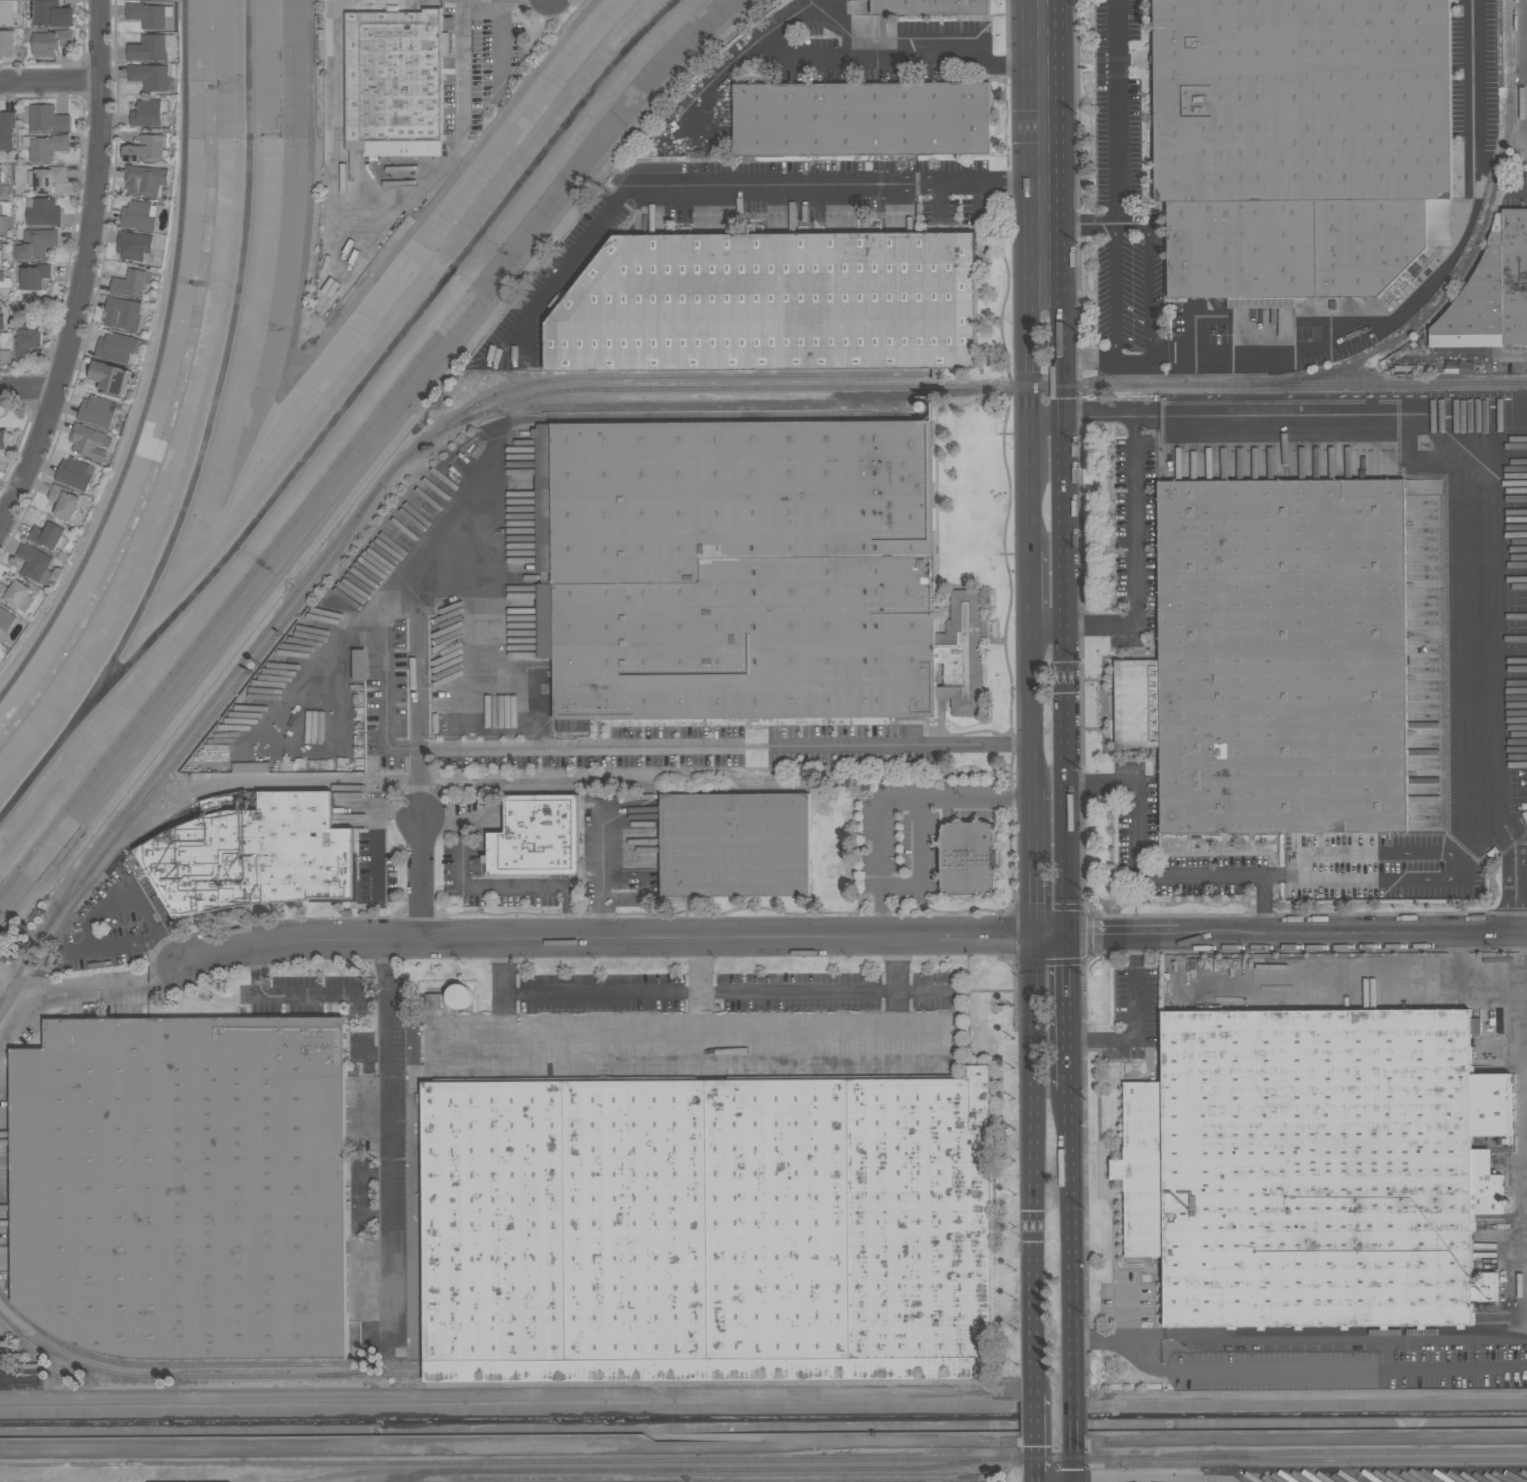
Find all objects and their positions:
building: (930, 7)
building: (8, 11)
building: (52, 13)
building: (149, 14)
road: (503, 37)
building: (49, 40)
building: (6, 42)
building: (149, 48)
road: (886, 59)
building: (150, 76)
road: (464, 78)
road: (50, 81)
building: (395, 81)
road: (1119, 111)
building: (148, 112)
building: (48, 118)
building: (862, 119)
building: (7, 130)
building: (1301, 144)
building: (46, 146)
building: (147, 150)
building: (47, 178)
building: (146, 180)
road: (332, 180)
building: (1, 183)
road: (748, 187)
road: (1473, 189)
building: (43, 211)
building: (139, 215)
building: (3, 222)
road: (1093, 225)
road: (1044, 229)
building: (35, 244)
building: (134, 245)
building: (1, 258)
railway: (1471, 261)
road: (80, 268)
building: (2, 275)
road: (1024, 275)
building: (1514, 276)
building: (31, 277)
road: (1150, 282)
building: (132, 283)
road: (1114, 290)
building: (772, 303)
building: (1476, 304)
building: (19, 308)
building: (123, 313)
building: (26, 321)
building: (2, 323)
building: (28, 342)
building: (118, 346)
road: (1259, 355)
building: (6, 356)
road: (1108, 360)
road: (159, 367)
building: (110, 377)
railway: (668, 377)
road: (28, 388)
railway: (619, 388)
road: (1065, 389)
railway: (692, 407)
building: (97, 411)
road: (1437, 432)
building: (3, 439)
building: (88, 441)
building: (75, 473)
building: (64, 501)
building: (49, 536)
road: (1134, 553)
building: (36, 563)
building: (750, 571)
road: (1029, 586)
building: (16, 594)
road: (395, 599)
building: (5, 622)
road: (1049, 623)
road: (488, 625)
road: (384, 627)
building: (1276, 657)
railway: (256, 662)
road: (1031, 706)
building: (503, 729)
road: (577, 746)
road: (902, 746)
road: (419, 760)
building: (251, 767)
road: (892, 801)
building: (212, 803)
road: (370, 829)
road: (1499, 831)
building: (536, 837)
road: (1454, 843)
building: (736, 844)
road: (1369, 853)
building: (257, 855)
road: (1135, 855)
road: (602, 856)
building: (969, 858)
road: (920, 859)
road: (1066, 860)
road: (1033, 864)
road: (1273, 871)
road: (1290, 871)
road: (1385, 878)
railway: (86, 879)
road: (488, 886)
road: (1512, 896)
road: (143, 899)
road: (1263, 904)
road: (91, 929)
road: (152, 934)
road: (607, 937)
road: (1297, 937)
traffic signals: (1033, 940)
road: (1050, 940)
traffic signals: (1067, 940)
road: (169, 944)
road: (1133, 951)
road: (72, 952)
road: (503, 972)
road: (698, 972)
road: (897, 972)
road: (1469, 976)
road: (1382, 977)
road: (700, 987)
road: (1068, 988)
road: (83, 994)
road: (300, 995)
building: (459, 996)
railway: (2, 1000)
road: (1134, 1000)
building: (433, 1001)
road: (897, 1015)
road: (503, 1017)
road: (1525, 1023)
road: (805, 1025)
road: (1098, 1037)
road: (1131, 1037)
road: (411, 1043)
road: (1069, 1057)
road: (385, 1110)
road: (1036, 1167)
building: (1314, 1167)
building: (184, 1186)
building: (708, 1229)
road: (1070, 1236)
railway: (1382, 1333)
road: (1329, 1340)
railway: (652, 1364)
railway: (202, 1365)
road: (1293, 1369)
railway: (485, 1374)
road: (1073, 1413)
road: (1039, 1414)
road: (1300, 1439)
road: (519, 1452)
railway: (1362, 1452)
road: (1040, 1455)
road: (1074, 1456)
railway: (1362, 1460)
railway: (599, 1461)
railway: (734, 1469)
railway: (380, 1472)
railway: (421, 1474)
road: (1058, 1478)
road: (1041, 1480)

